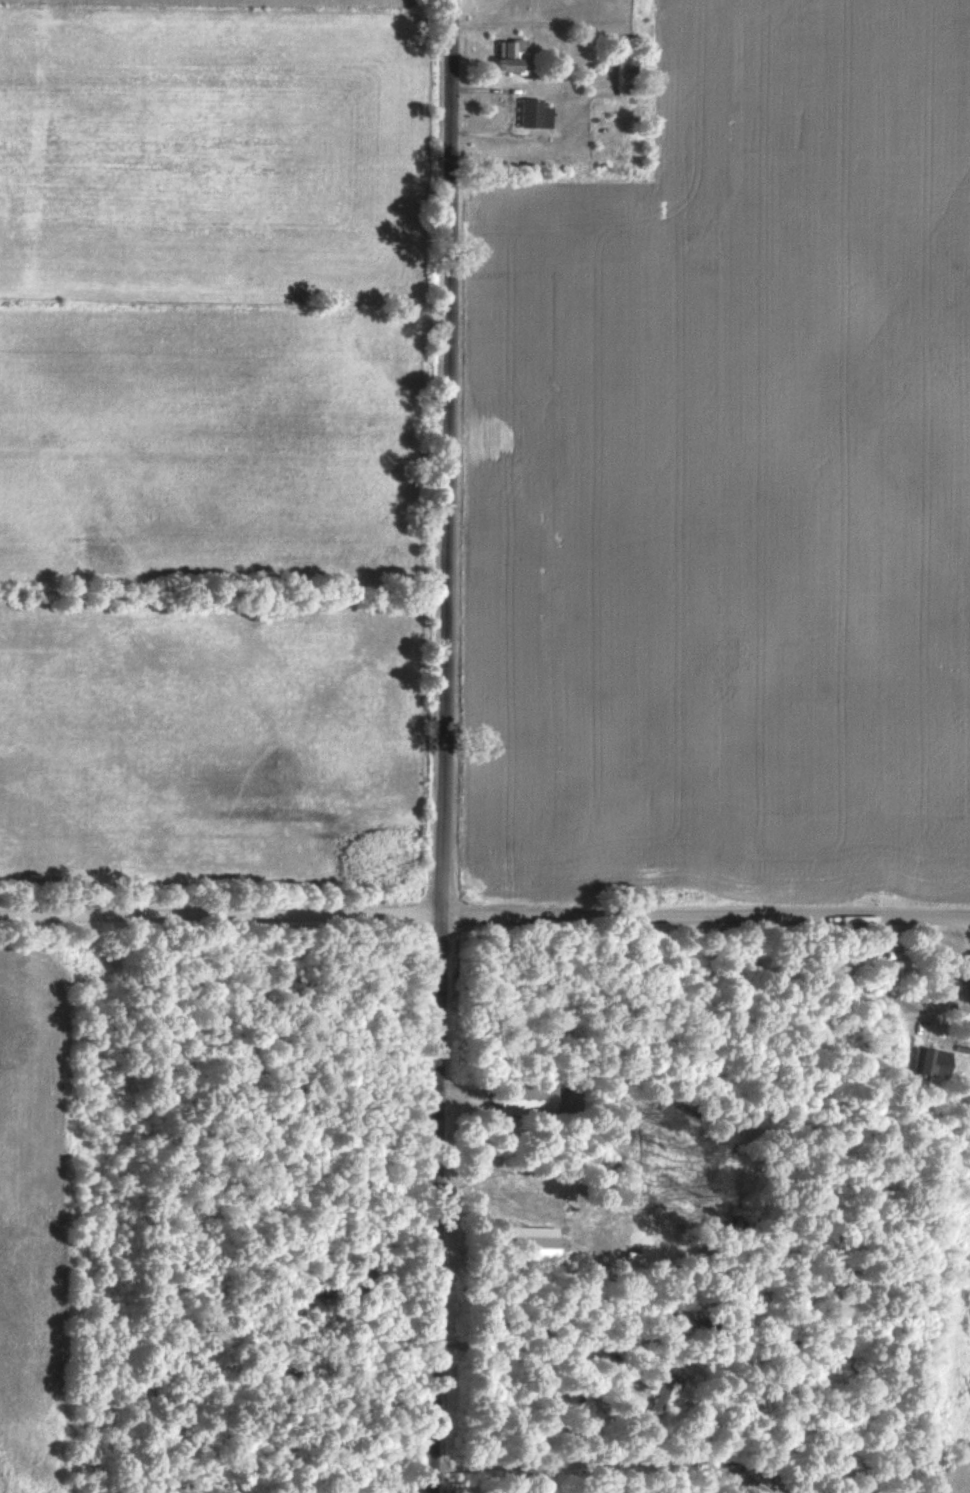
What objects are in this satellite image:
building: (505, 53)
building: (624, 66)
building: (533, 113)
road: (444, 746)
road: (485, 915)
building: (928, 1062)

